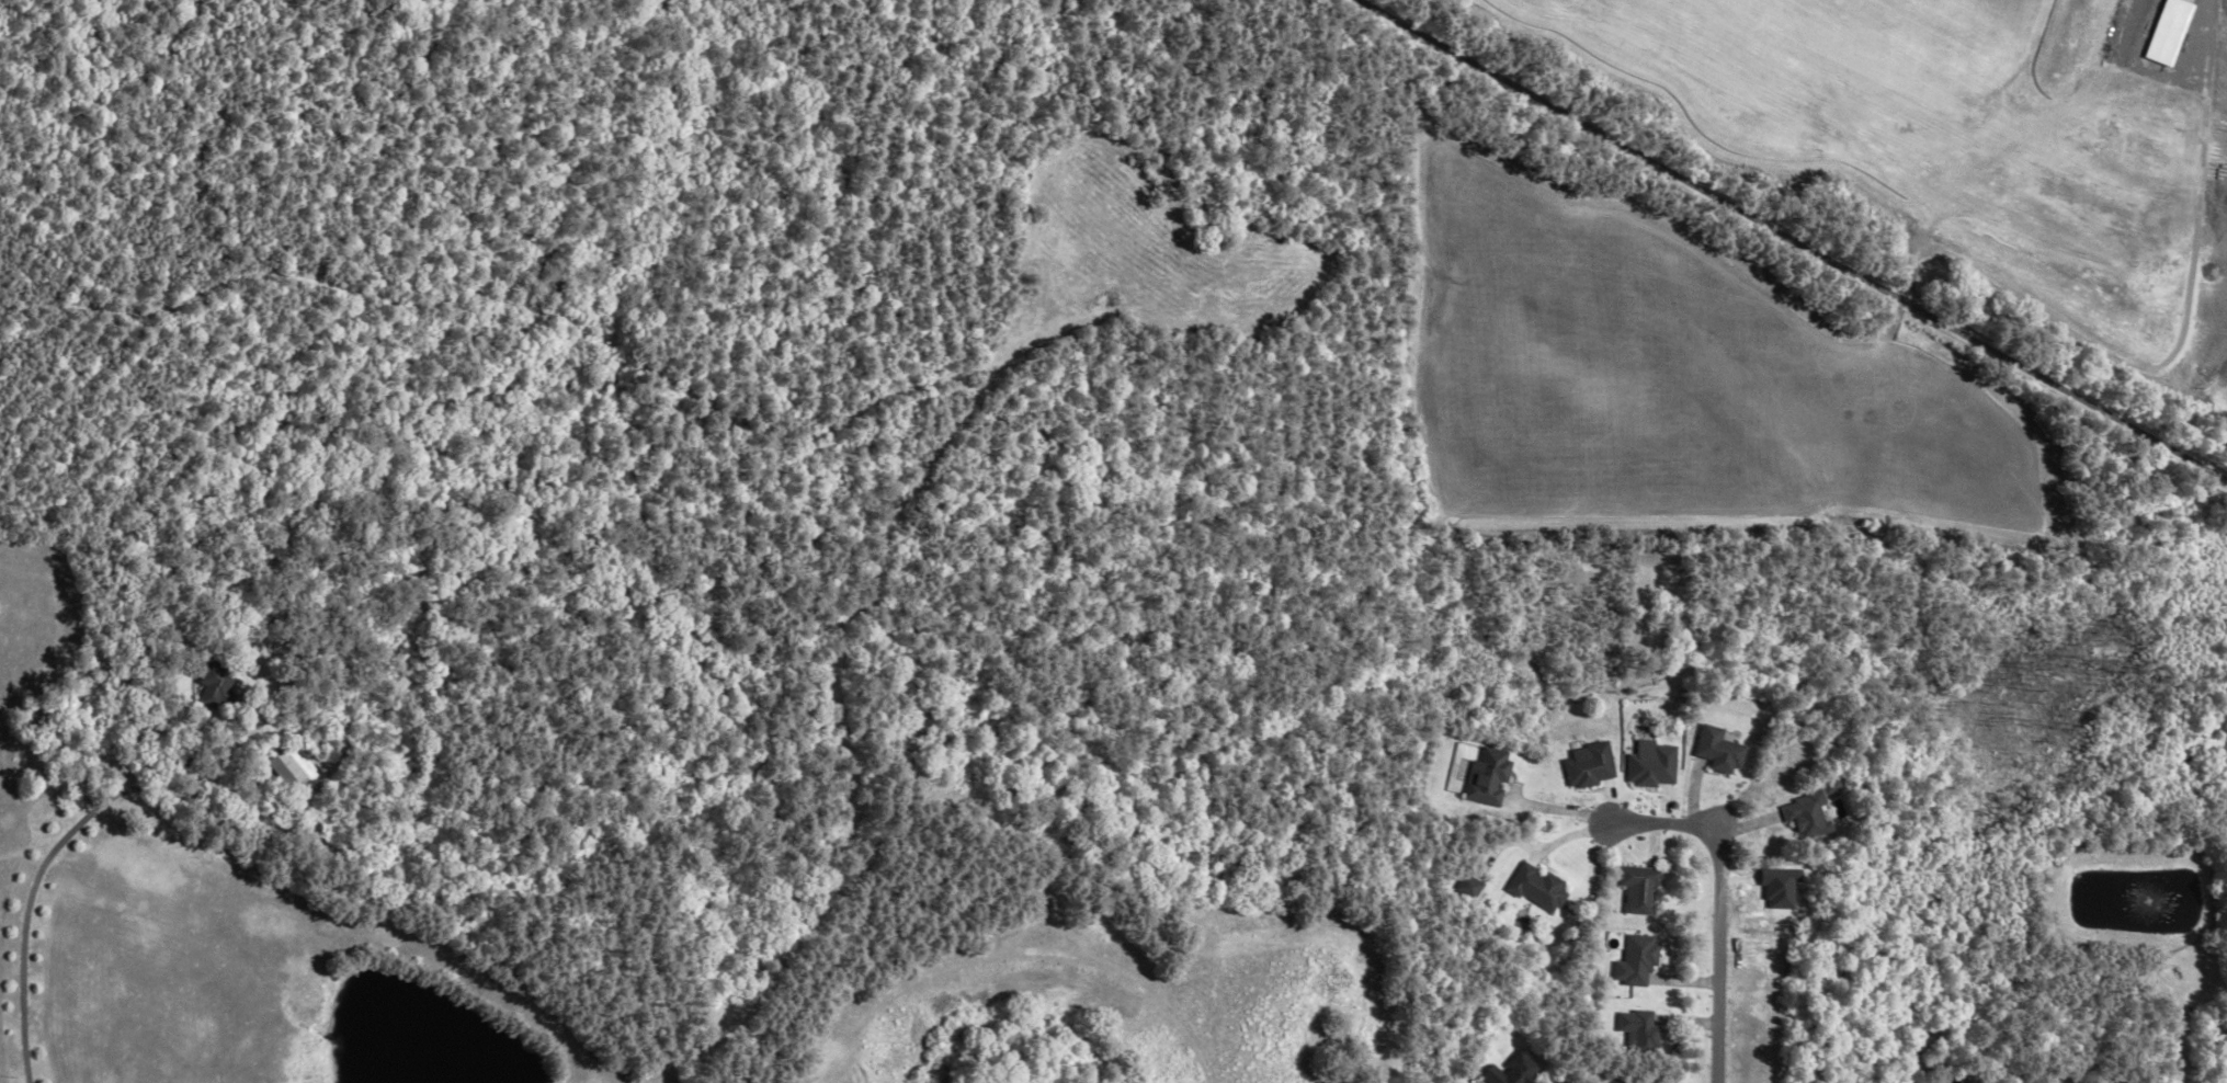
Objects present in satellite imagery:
road: (1787, 240)
road: (772, 436)
road: (830, 668)
building: (218, 686)
building: (1714, 751)
building: (1586, 765)
building: (1649, 767)
building: (288, 771)
building: (1486, 777)
building: (1795, 814)
road: (27, 884)
building: (1461, 887)
building: (1526, 888)
building: (1631, 890)
road: (1716, 904)
building: (1627, 962)
building: (1629, 1033)
building: (1508, 1071)
building: (1615, 1082)

